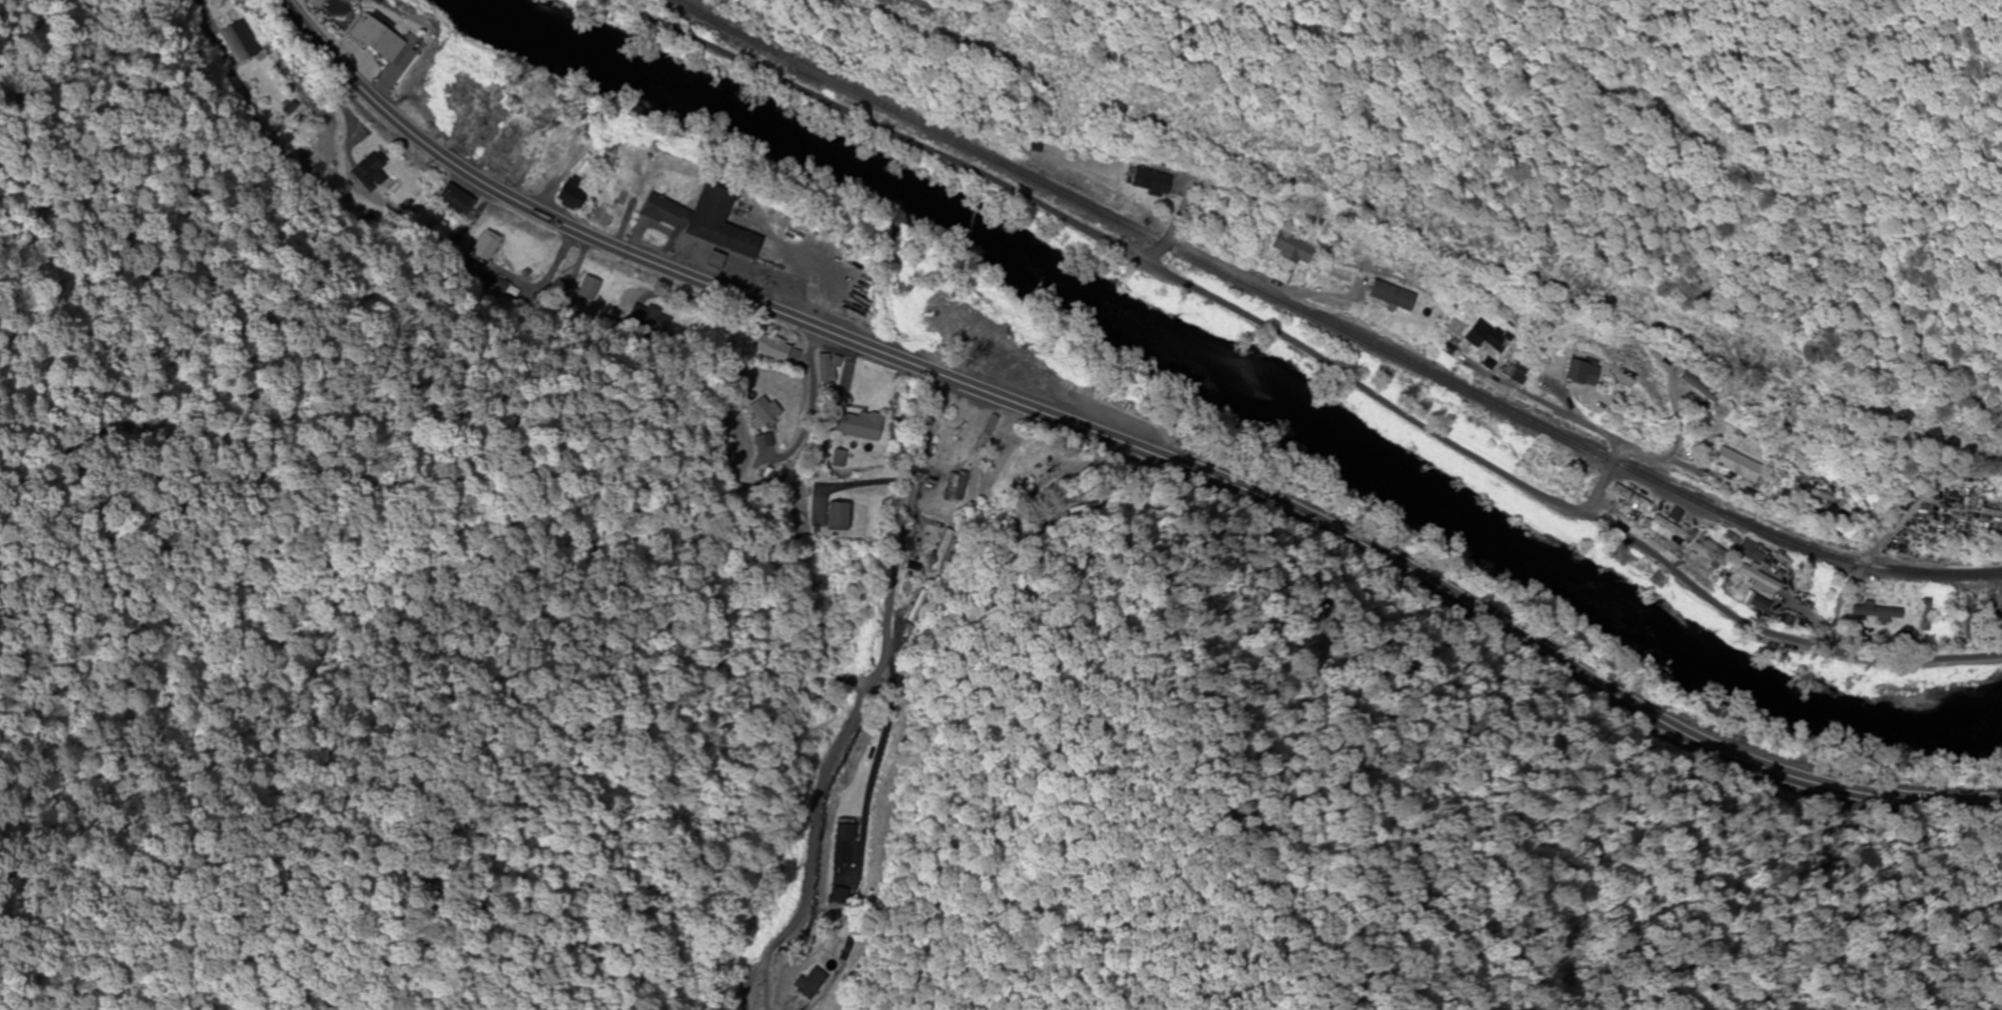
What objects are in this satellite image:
building: (384, 37)
building: (1156, 182)
building: (617, 197)
building: (708, 221)
building: (1294, 252)
road: (1218, 260)
building: (1389, 297)
railway: (1328, 322)
building: (1475, 333)
building: (786, 354)
road: (1310, 359)
building: (1509, 369)
building: (830, 371)
building: (1576, 373)
building: (1033, 377)
river: (1230, 401)
building: (772, 411)
road: (1579, 421)
building: (868, 425)
building: (985, 434)
road: (1123, 440)
building: (1730, 465)
building: (955, 487)
building: (1821, 497)
building: (1627, 498)
building: (843, 517)
building: (1662, 531)
road: (1894, 531)
building: (941, 550)
building: (1759, 581)
building: (915, 607)
road: (1845, 610)
building: (1868, 612)
building: (1921, 615)
building: (1996, 615)
building: (1957, 618)
road: (874, 699)
building: (846, 843)

